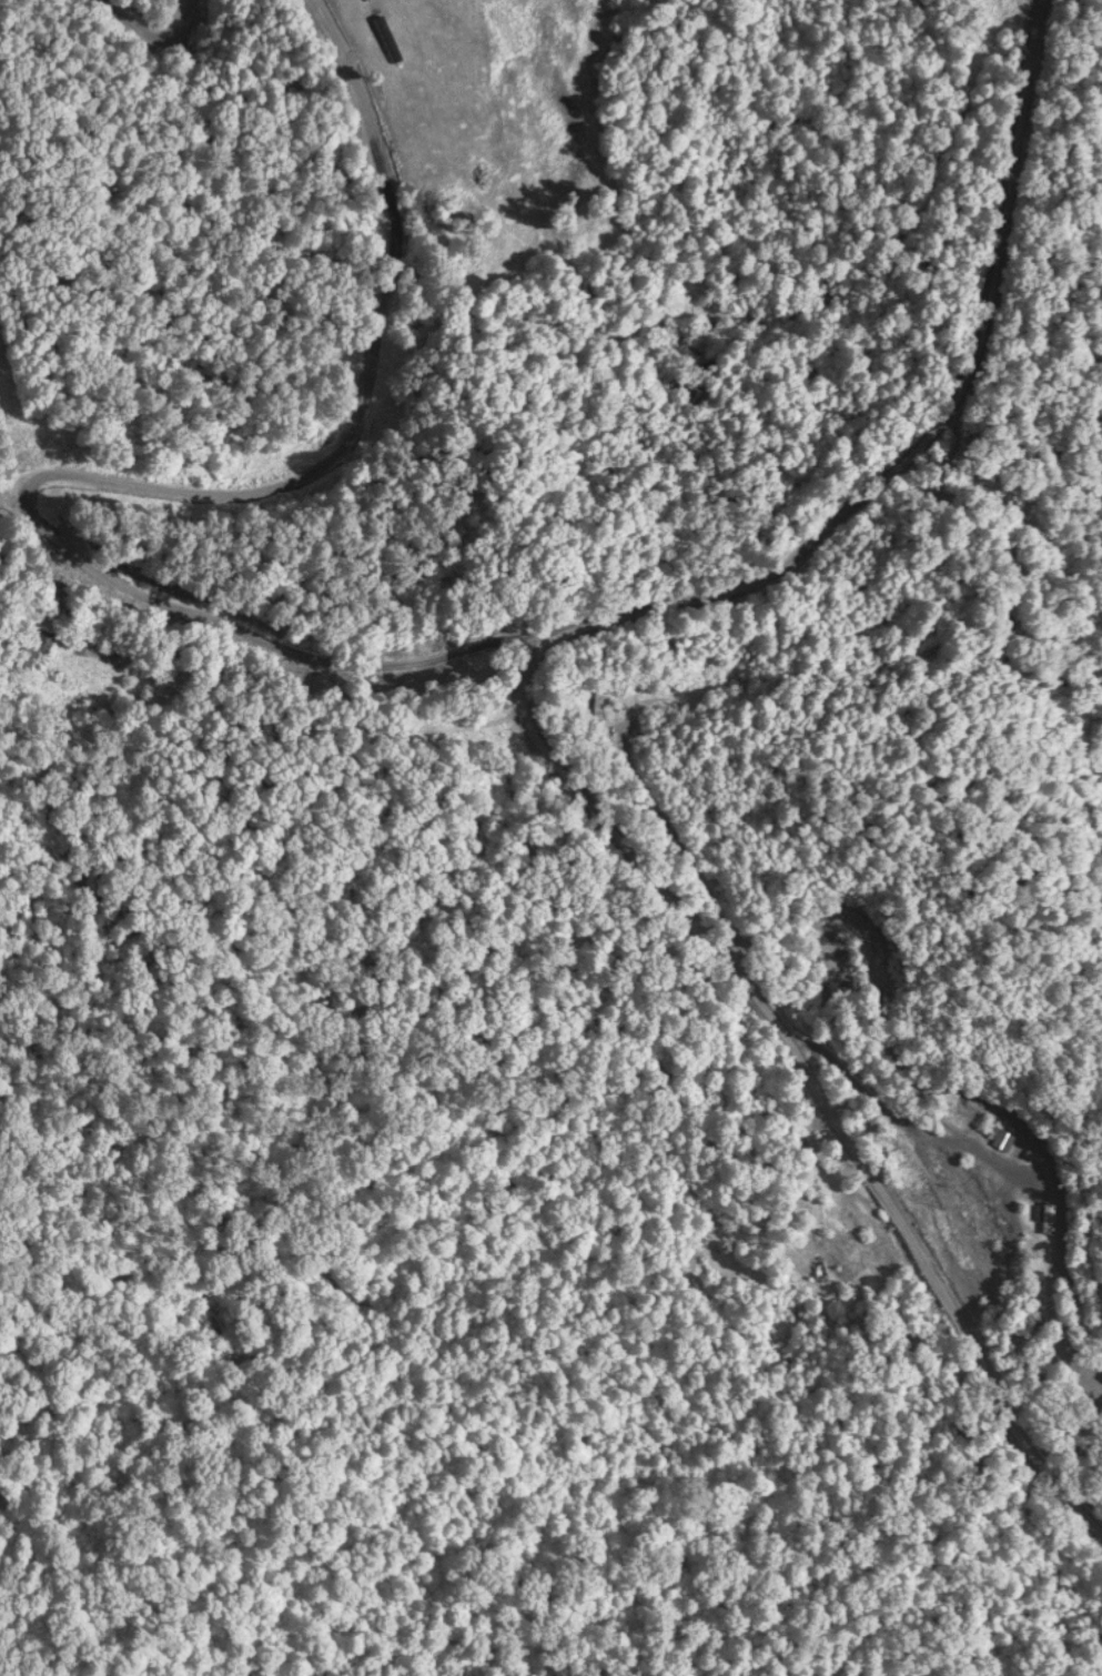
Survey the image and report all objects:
building: (597, 707)
road: (615, 725)
building: (1000, 1135)
building: (842, 1242)

